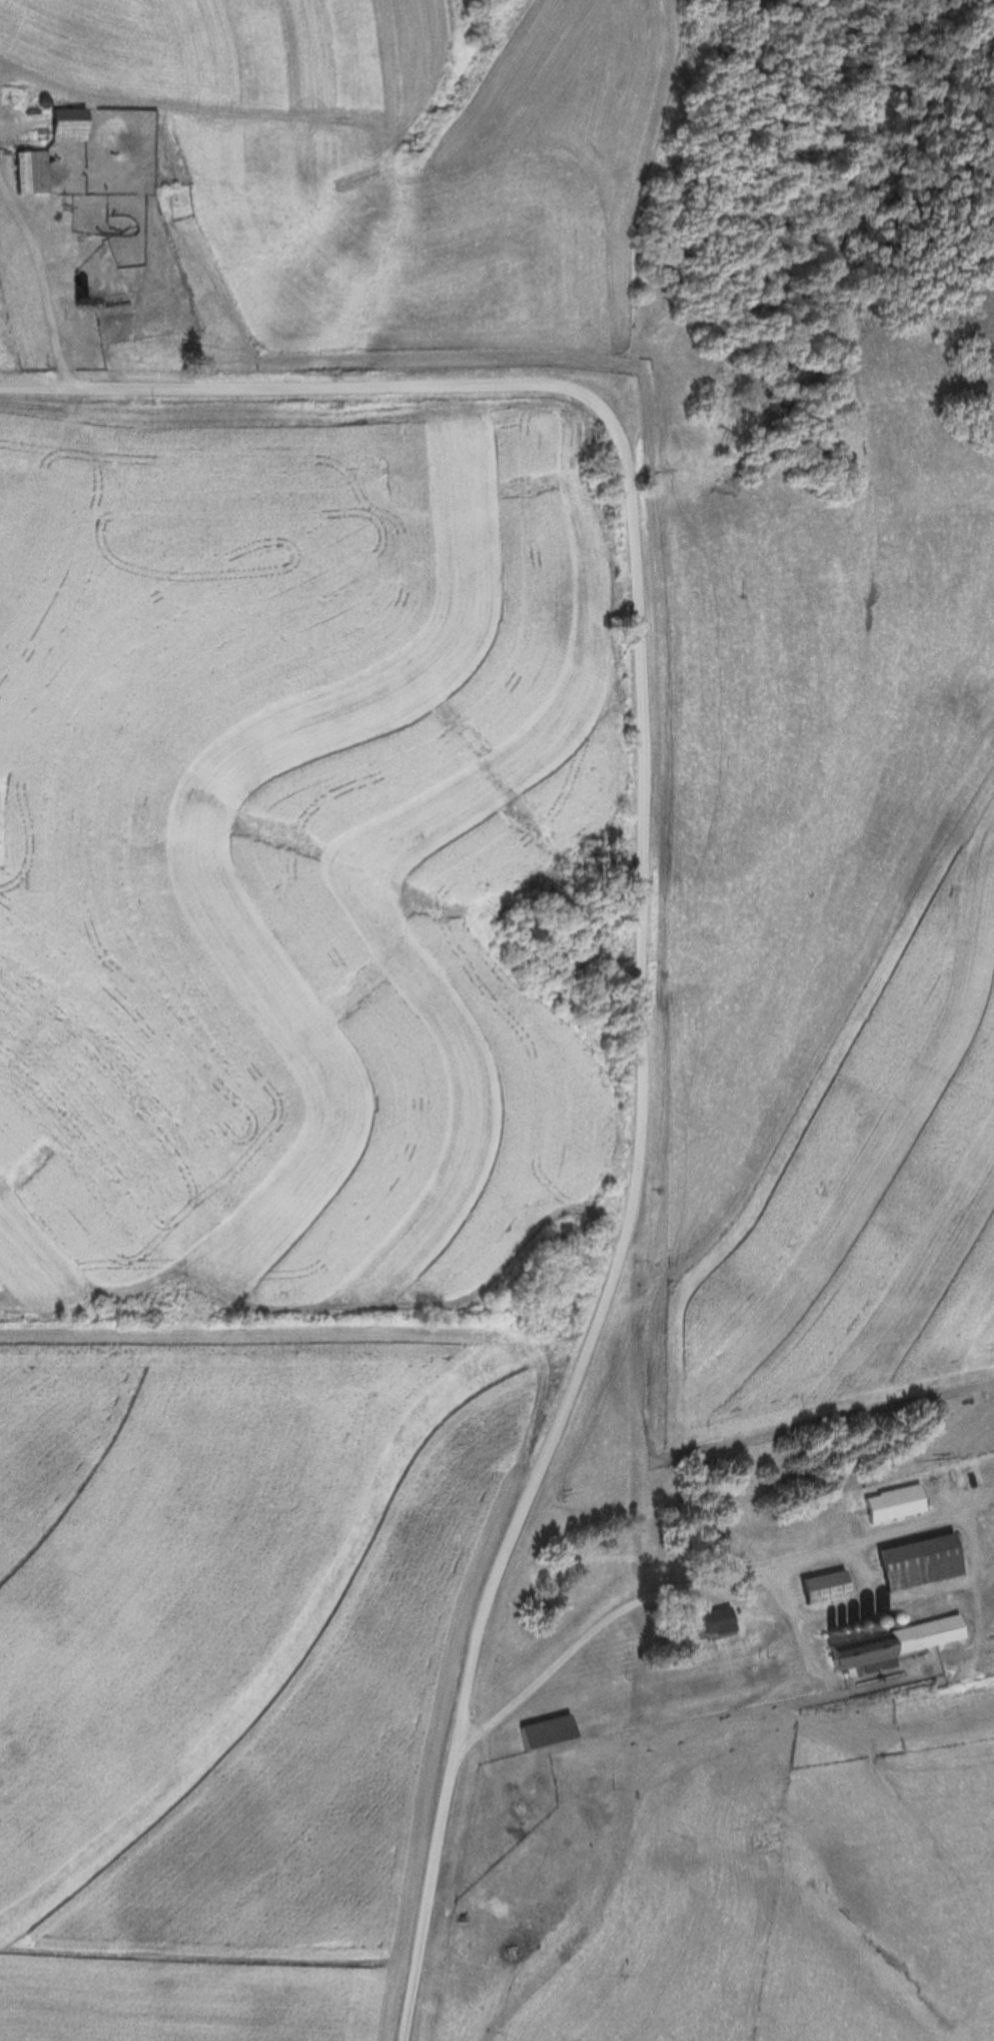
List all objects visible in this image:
building: (66, 124)
building: (29, 171)
road: (40, 291)
road: (638, 940)
building: (890, 1502)
building: (914, 1561)
building: (819, 1585)
road: (617, 1608)
building: (713, 1619)
building: (885, 1641)
building: (545, 1730)

